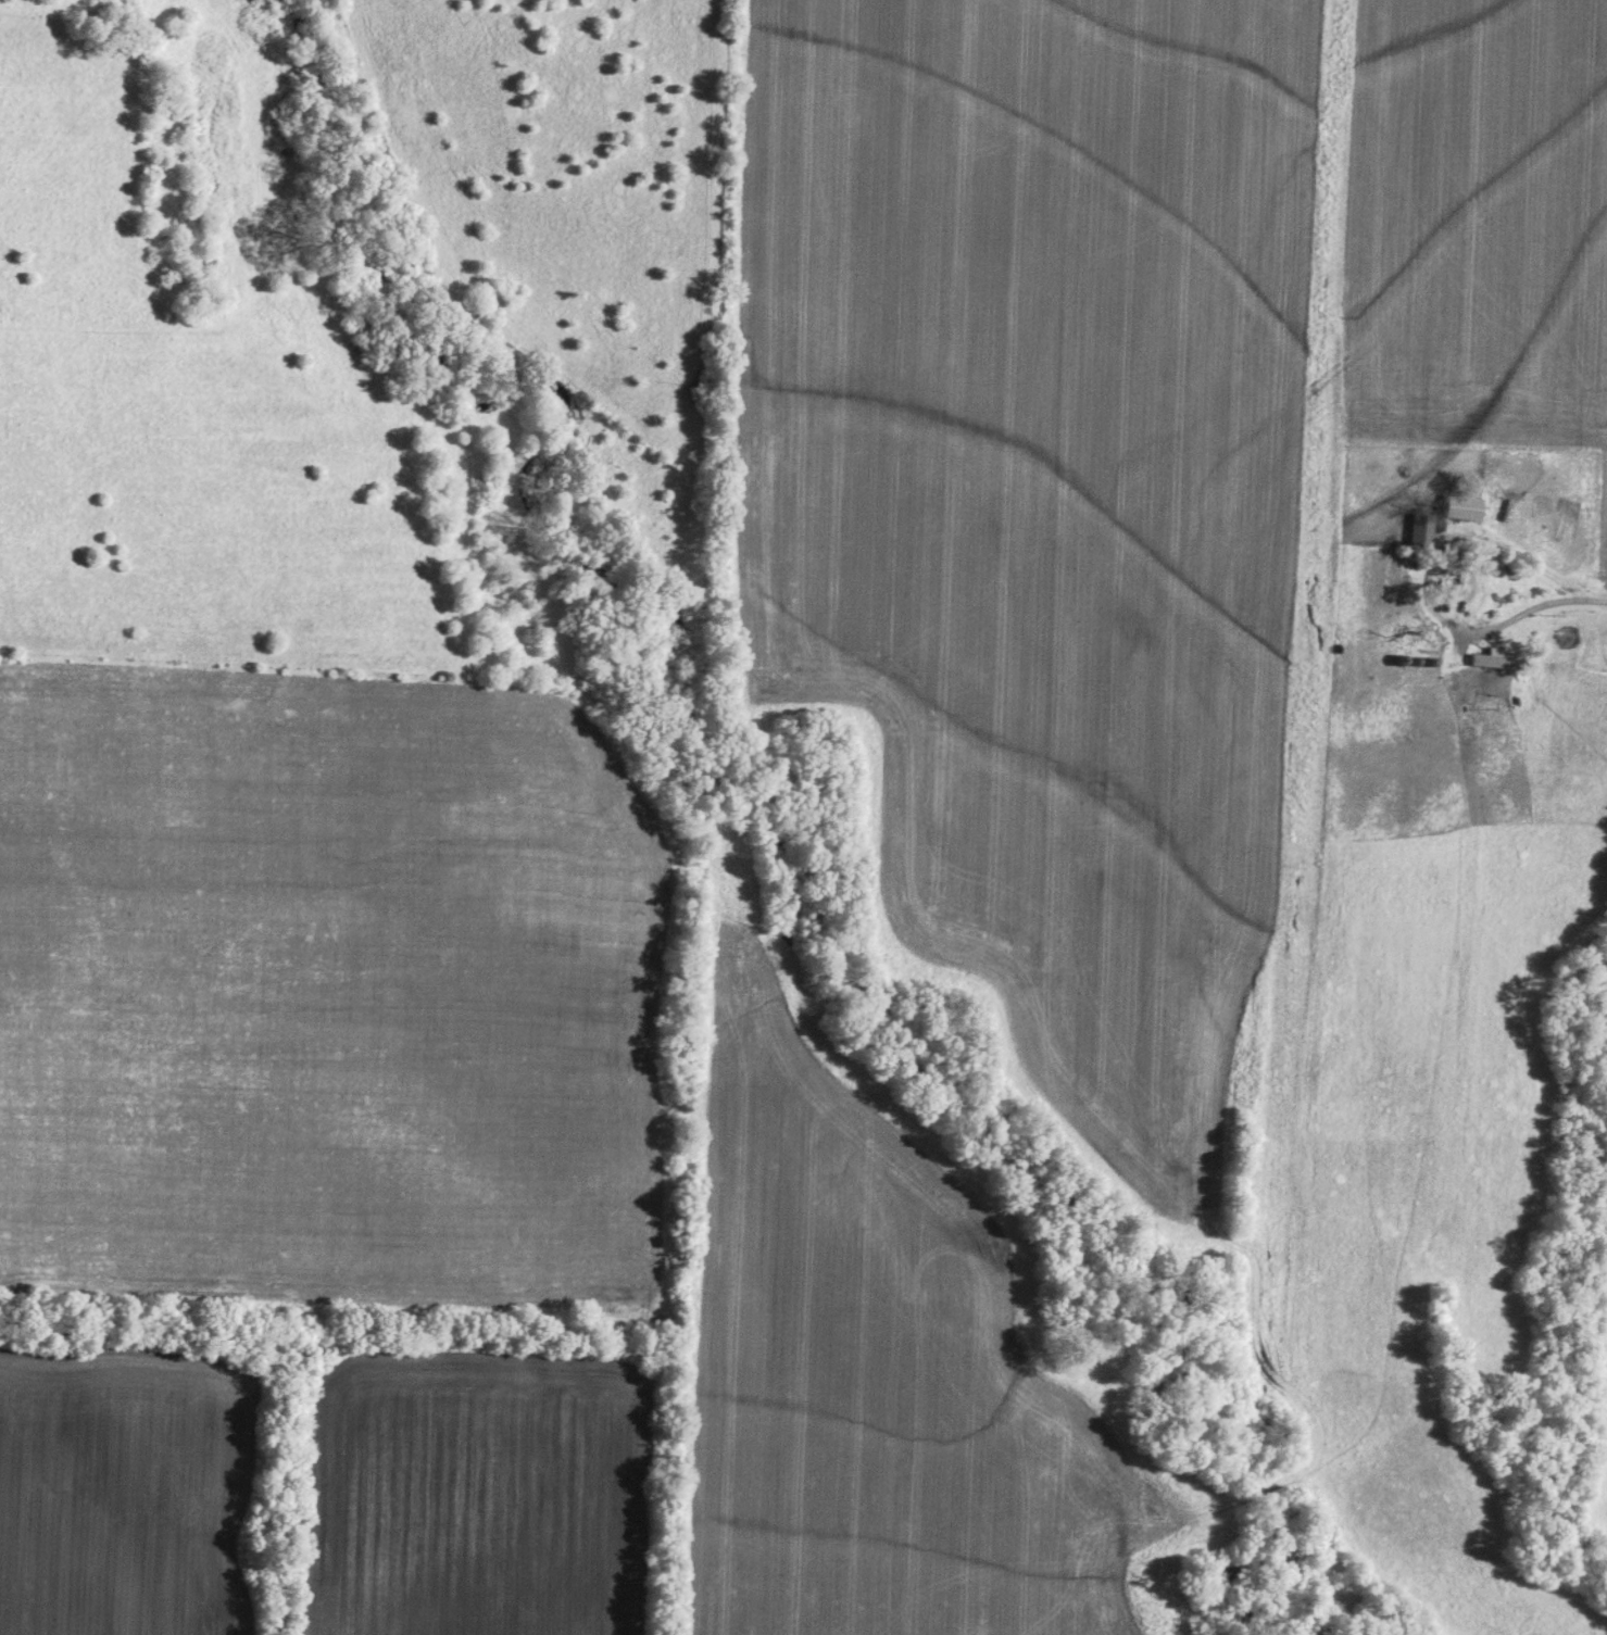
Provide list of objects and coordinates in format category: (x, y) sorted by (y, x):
building: (1421, 529)
road: (1524, 609)
building: (1494, 661)

